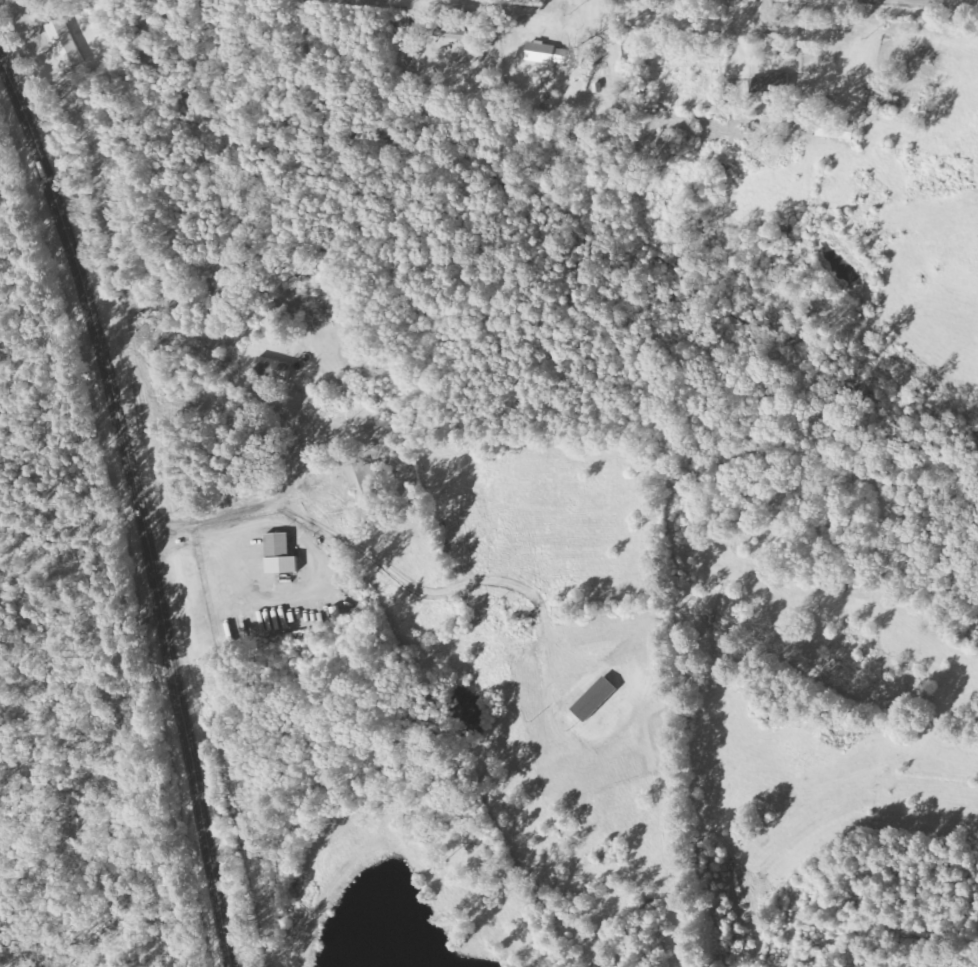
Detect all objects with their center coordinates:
road: (779, 10)
building: (452, 34)
building: (546, 53)
building: (772, 84)
building: (834, 130)
building: (272, 368)
building: (362, 481)
road: (545, 497)
road: (136, 516)
building: (278, 554)
road: (573, 728)

